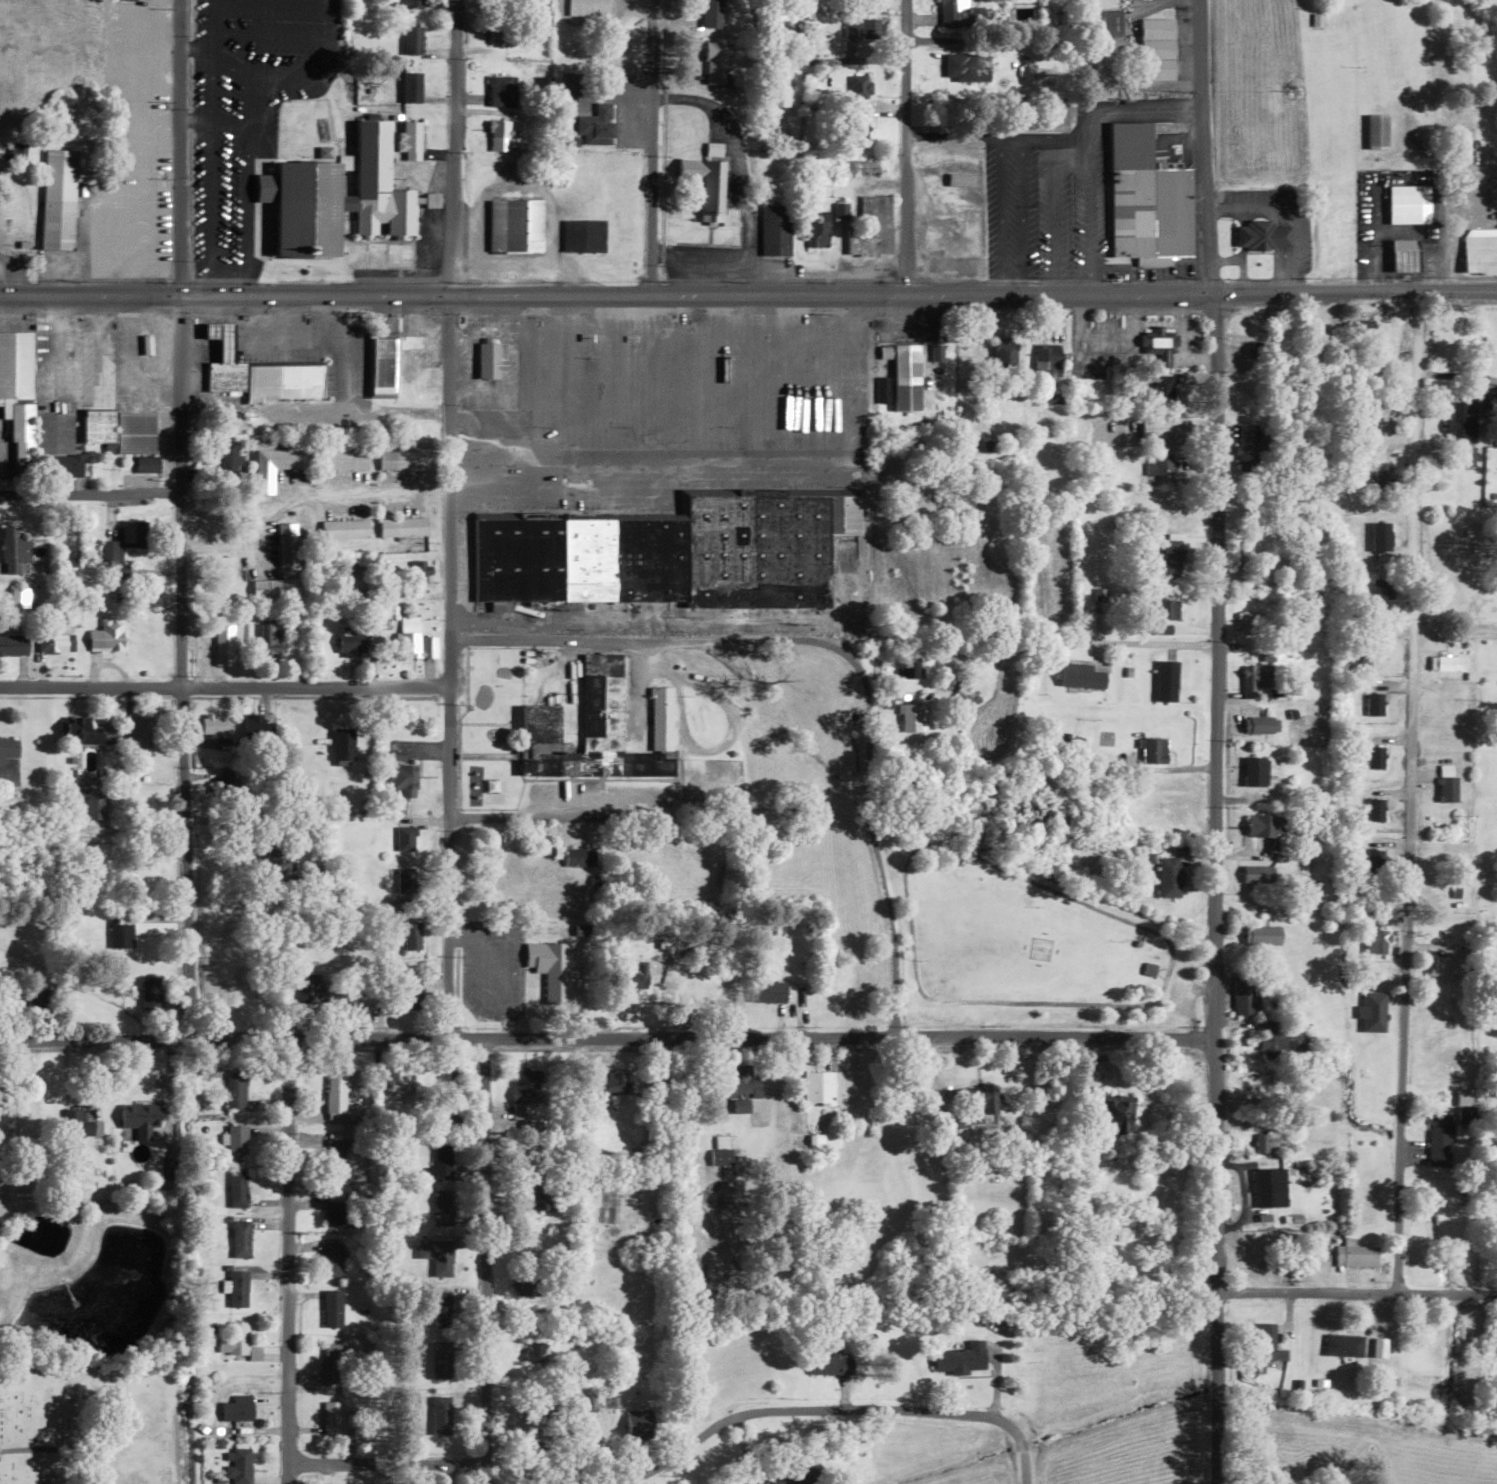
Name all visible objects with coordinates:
building: (135, 0)
building: (501, 0)
road: (824, 4)
building: (411, 5)
building: (588, 8)
building: (711, 13)
building: (959, 14)
building: (1316, 20)
building: (1106, 23)
building: (863, 28)
building: (501, 30)
building: (413, 40)
building: (1157, 49)
building: (715, 63)
building: (966, 66)
building: (140, 85)
building: (412, 87)
building: (860, 88)
building: (502, 91)
building: (774, 95)
building: (597, 125)
building: (1377, 132)
building: (501, 136)
building: (409, 140)
road: (177, 147)
road: (451, 147)
road: (649, 147)
road: (901, 147)
road: (1204, 147)
building: (17, 152)
road: (1381, 160)
building: (868, 167)
building: (960, 180)
building: (713, 191)
building: (337, 197)
building: (1146, 198)
building: (58, 199)
building: (432, 200)
building: (1407, 207)
building: (515, 226)
building: (871, 229)
building: (775, 231)
building: (818, 231)
building: (123, 233)
building: (935, 234)
building: (583, 236)
building: (1264, 236)
building: (17, 241)
building: (1406, 256)
road: (748, 295)
building: (1158, 348)
building: (1004, 353)
building: (1261, 353)
building: (410, 355)
building: (489, 361)
building: (1048, 361)
building: (383, 366)
building: (258, 374)
building: (905, 376)
building: (1156, 389)
building: (882, 391)
building: (1466, 418)
building: (33, 419)
building: (1166, 428)
building: (121, 431)
building: (1249, 447)
building: (1469, 456)
building: (228, 458)
building: (345, 460)
building: (402, 460)
building: (150, 465)
building: (276, 467)
building: (1157, 468)
building: (1383, 476)
road: (87, 497)
building: (403, 527)
building: (344, 529)
building: (1381, 540)
building: (123, 546)
building: (287, 547)
building: (13, 551)
building: (671, 554)
building: (1171, 559)
building: (1247, 563)
building: (275, 589)
building: (18, 598)
building: (1166, 615)
building: (1249, 621)
road: (1454, 634)
building: (107, 636)
building: (272, 640)
road: (649, 640)
building: (224, 642)
building: (352, 642)
building: (414, 642)
road: (1100, 642)
building: (55, 644)
building: (13, 645)
building: (1450, 664)
building: (909, 667)
road: (178, 668)
road: (447, 668)
building: (1083, 676)
building: (1257, 677)
building: (1167, 682)
road: (223, 687)
building: (1375, 704)
building: (603, 706)
building: (661, 717)
building: (911, 717)
building: (216, 724)
building: (1262, 724)
building: (258, 727)
building: (89, 731)
building: (142, 731)
building: (544, 743)
building: (343, 745)
building: (8, 747)
building: (1152, 750)
building: (1375, 758)
building: (1257, 770)
building: (402, 775)
building: (1448, 783)
road: (1406, 793)
building: (90, 804)
building: (1174, 809)
building: (1376, 810)
road: (521, 817)
building: (1268, 828)
road: (873, 846)
building: (579, 856)
building: (277, 857)
building: (1375, 861)
building: (1258, 875)
building: (1170, 877)
road: (1213, 888)
building: (1263, 935)
building: (410, 936)
building: (120, 938)
building: (1377, 941)
building: (550, 968)
building: (1446, 968)
building: (637, 976)
building: (312, 989)
building: (768, 991)
building: (150, 993)
building: (411, 995)
building: (1244, 997)
road: (606, 1039)
building: (1274, 1039)
building: (611, 1081)
building: (3, 1082)
building: (1253, 1082)
building: (405, 1083)
building: (741, 1084)
building: (821, 1087)
building: (235, 1090)
building: (335, 1094)
building: (526, 1096)
building: (972, 1103)
building: (1116, 1115)
building: (83, 1117)
building: (140, 1118)
building: (1467, 1118)
building: (1440, 1135)
building: (236, 1140)
building: (1266, 1141)
building: (720, 1149)
building: (334, 1154)
building: (441, 1157)
building: (1270, 1187)
building: (236, 1188)
building: (536, 1193)
building: (442, 1207)
building: (339, 1215)
building: (240, 1236)
building: (1356, 1254)
building: (333, 1257)
building: (442, 1259)
road: (287, 1261)
road: (480, 1262)
building: (1255, 1270)
building: (520, 1285)
building: (237, 1288)
road: (1355, 1294)
building: (333, 1308)
building: (441, 1309)
building: (234, 1338)
building: (1266, 1342)
building: (1344, 1344)
building: (536, 1351)
building: (962, 1358)
building: (441, 1360)
building: (333, 1362)
building: (831, 1364)
building: (238, 1408)
road: (833, 1410)
building: (441, 1415)
building: (333, 1418)
building: (638, 1424)
building: (541, 1449)
road: (385, 1463)
building: (240, 1466)
building: (799, 1473)
building: (749, 1483)

